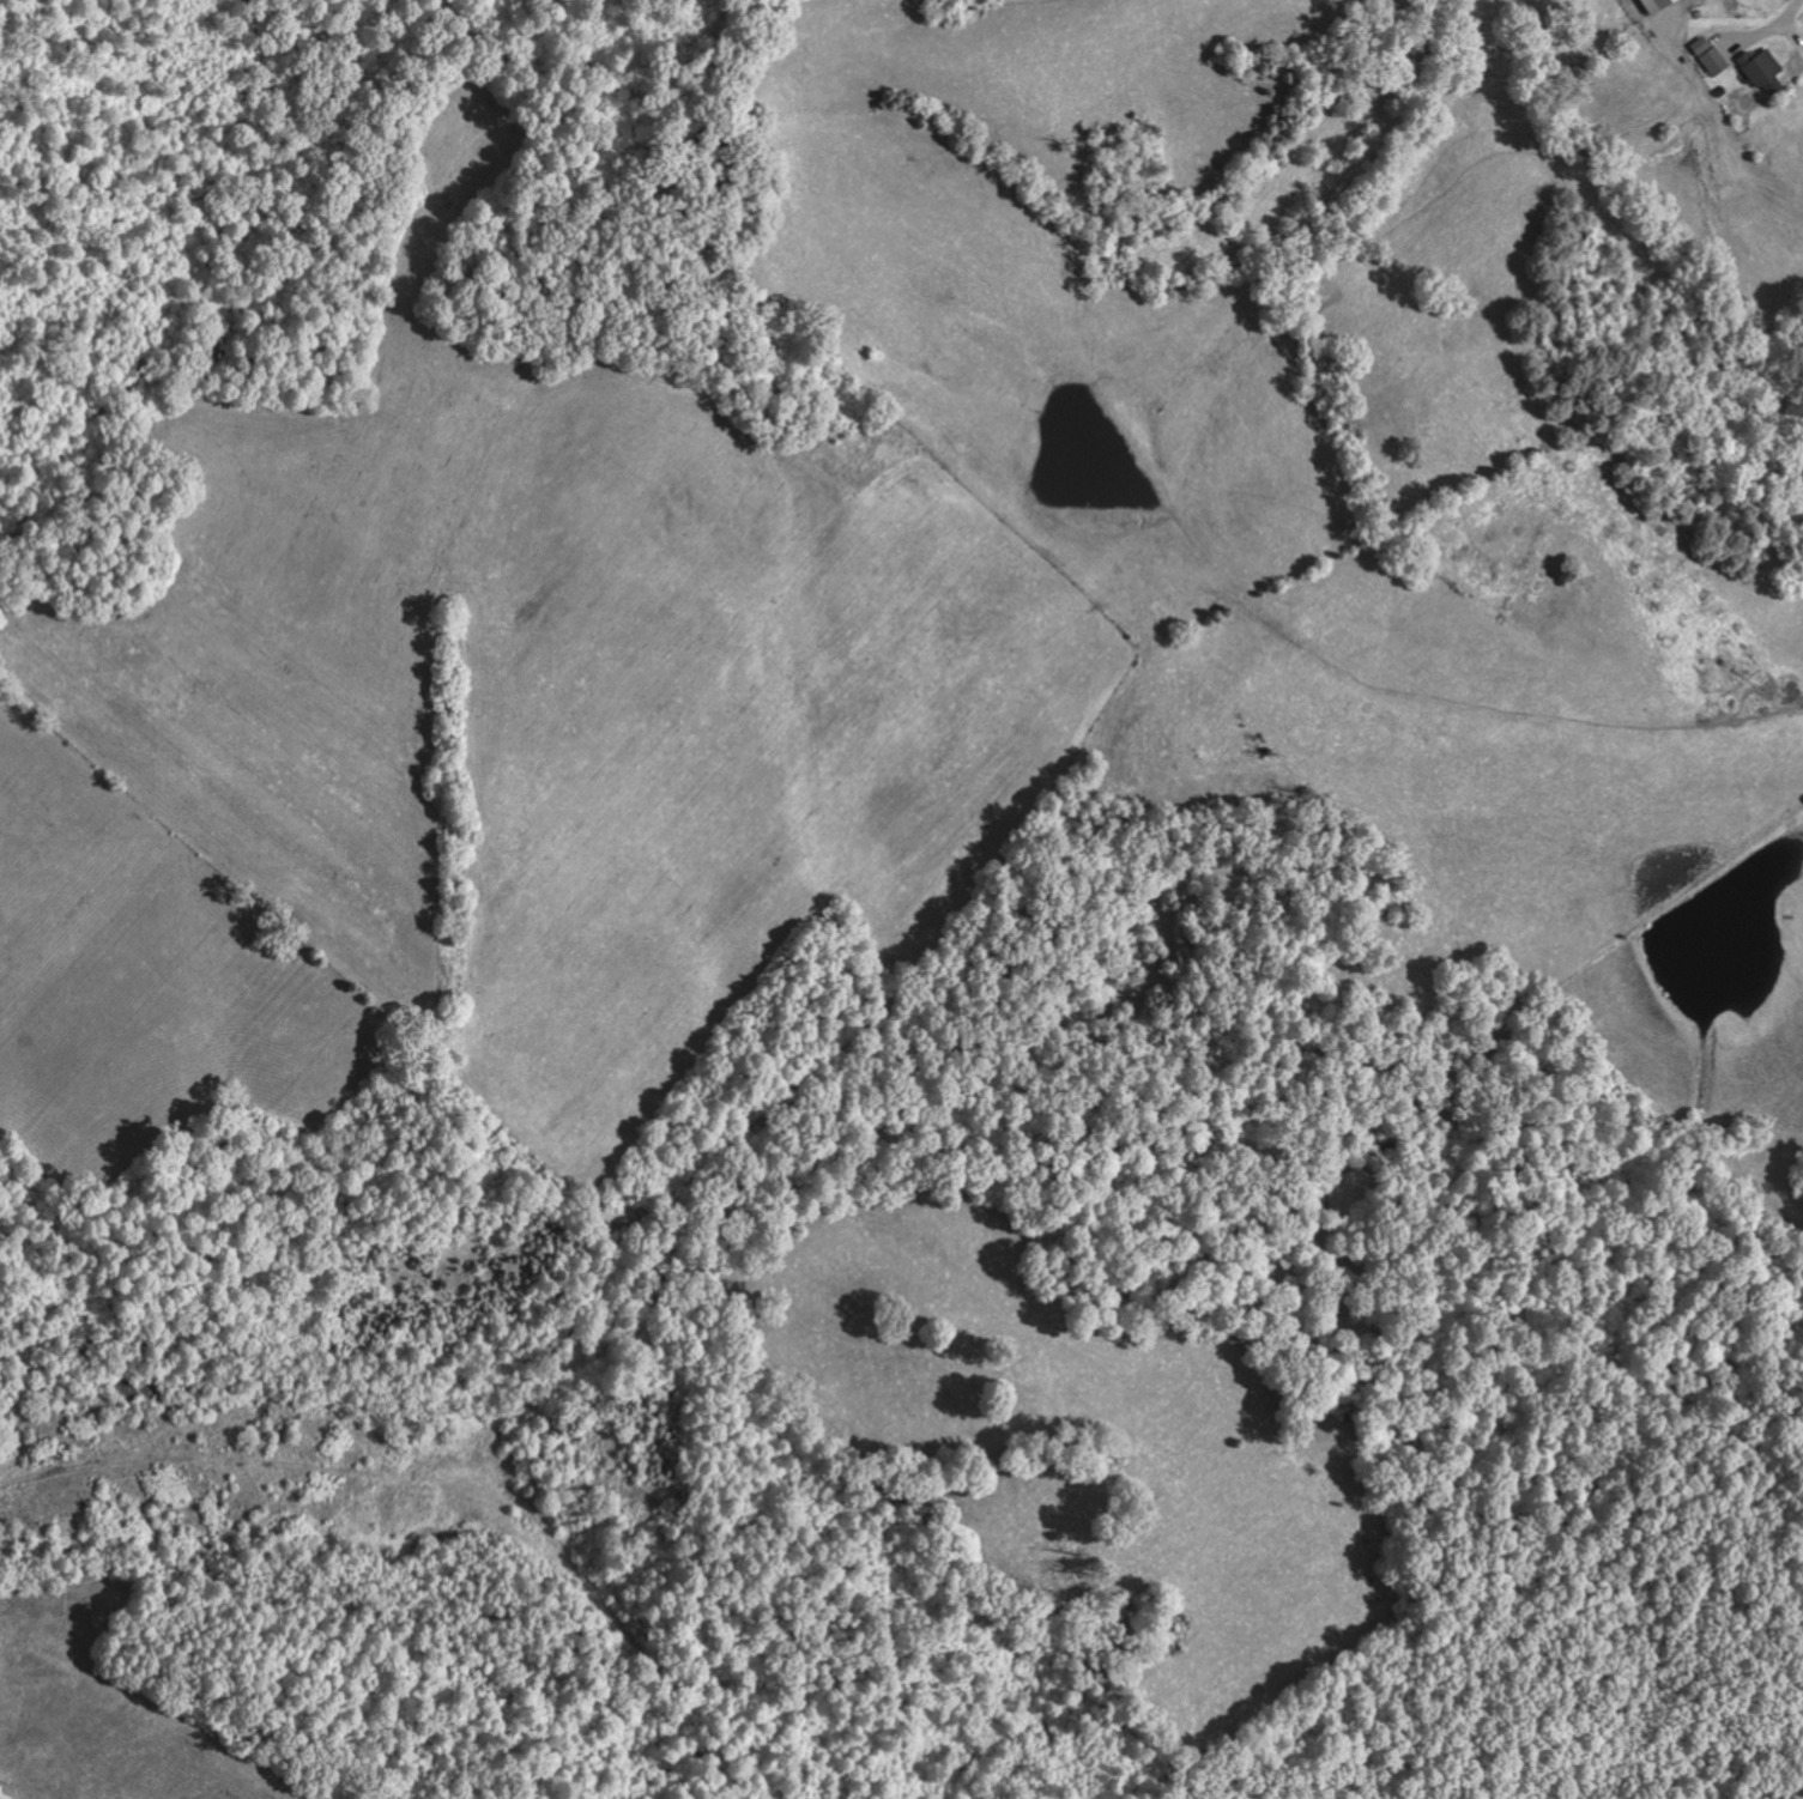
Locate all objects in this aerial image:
building: (1658, 5)
road: (1780, 28)
building: (1716, 61)
building: (1762, 66)

